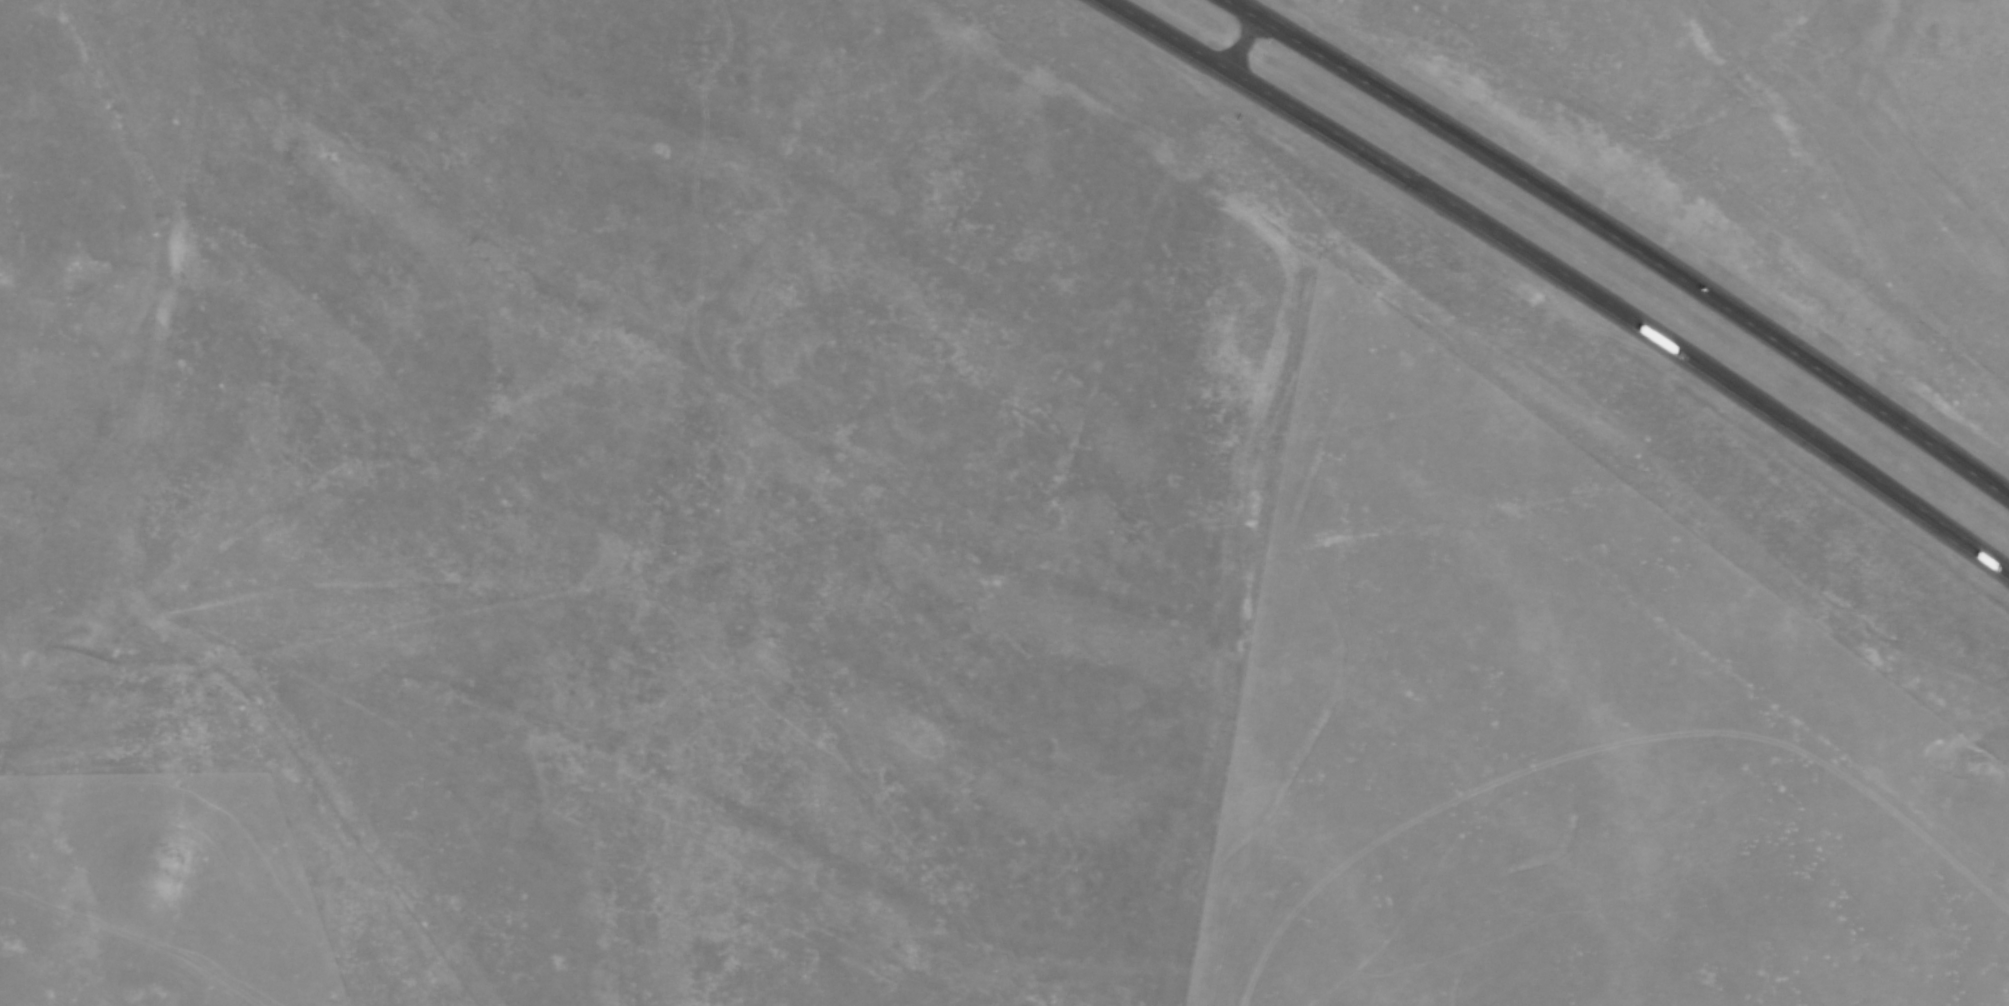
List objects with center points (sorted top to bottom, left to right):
road: (1623, 239)
road: (1562, 275)

